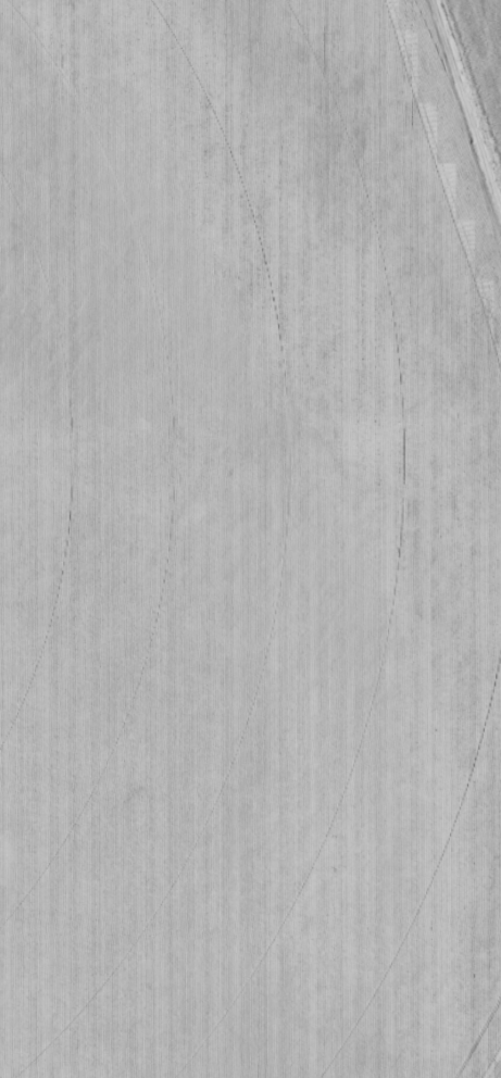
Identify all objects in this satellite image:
road: (472, 102)

